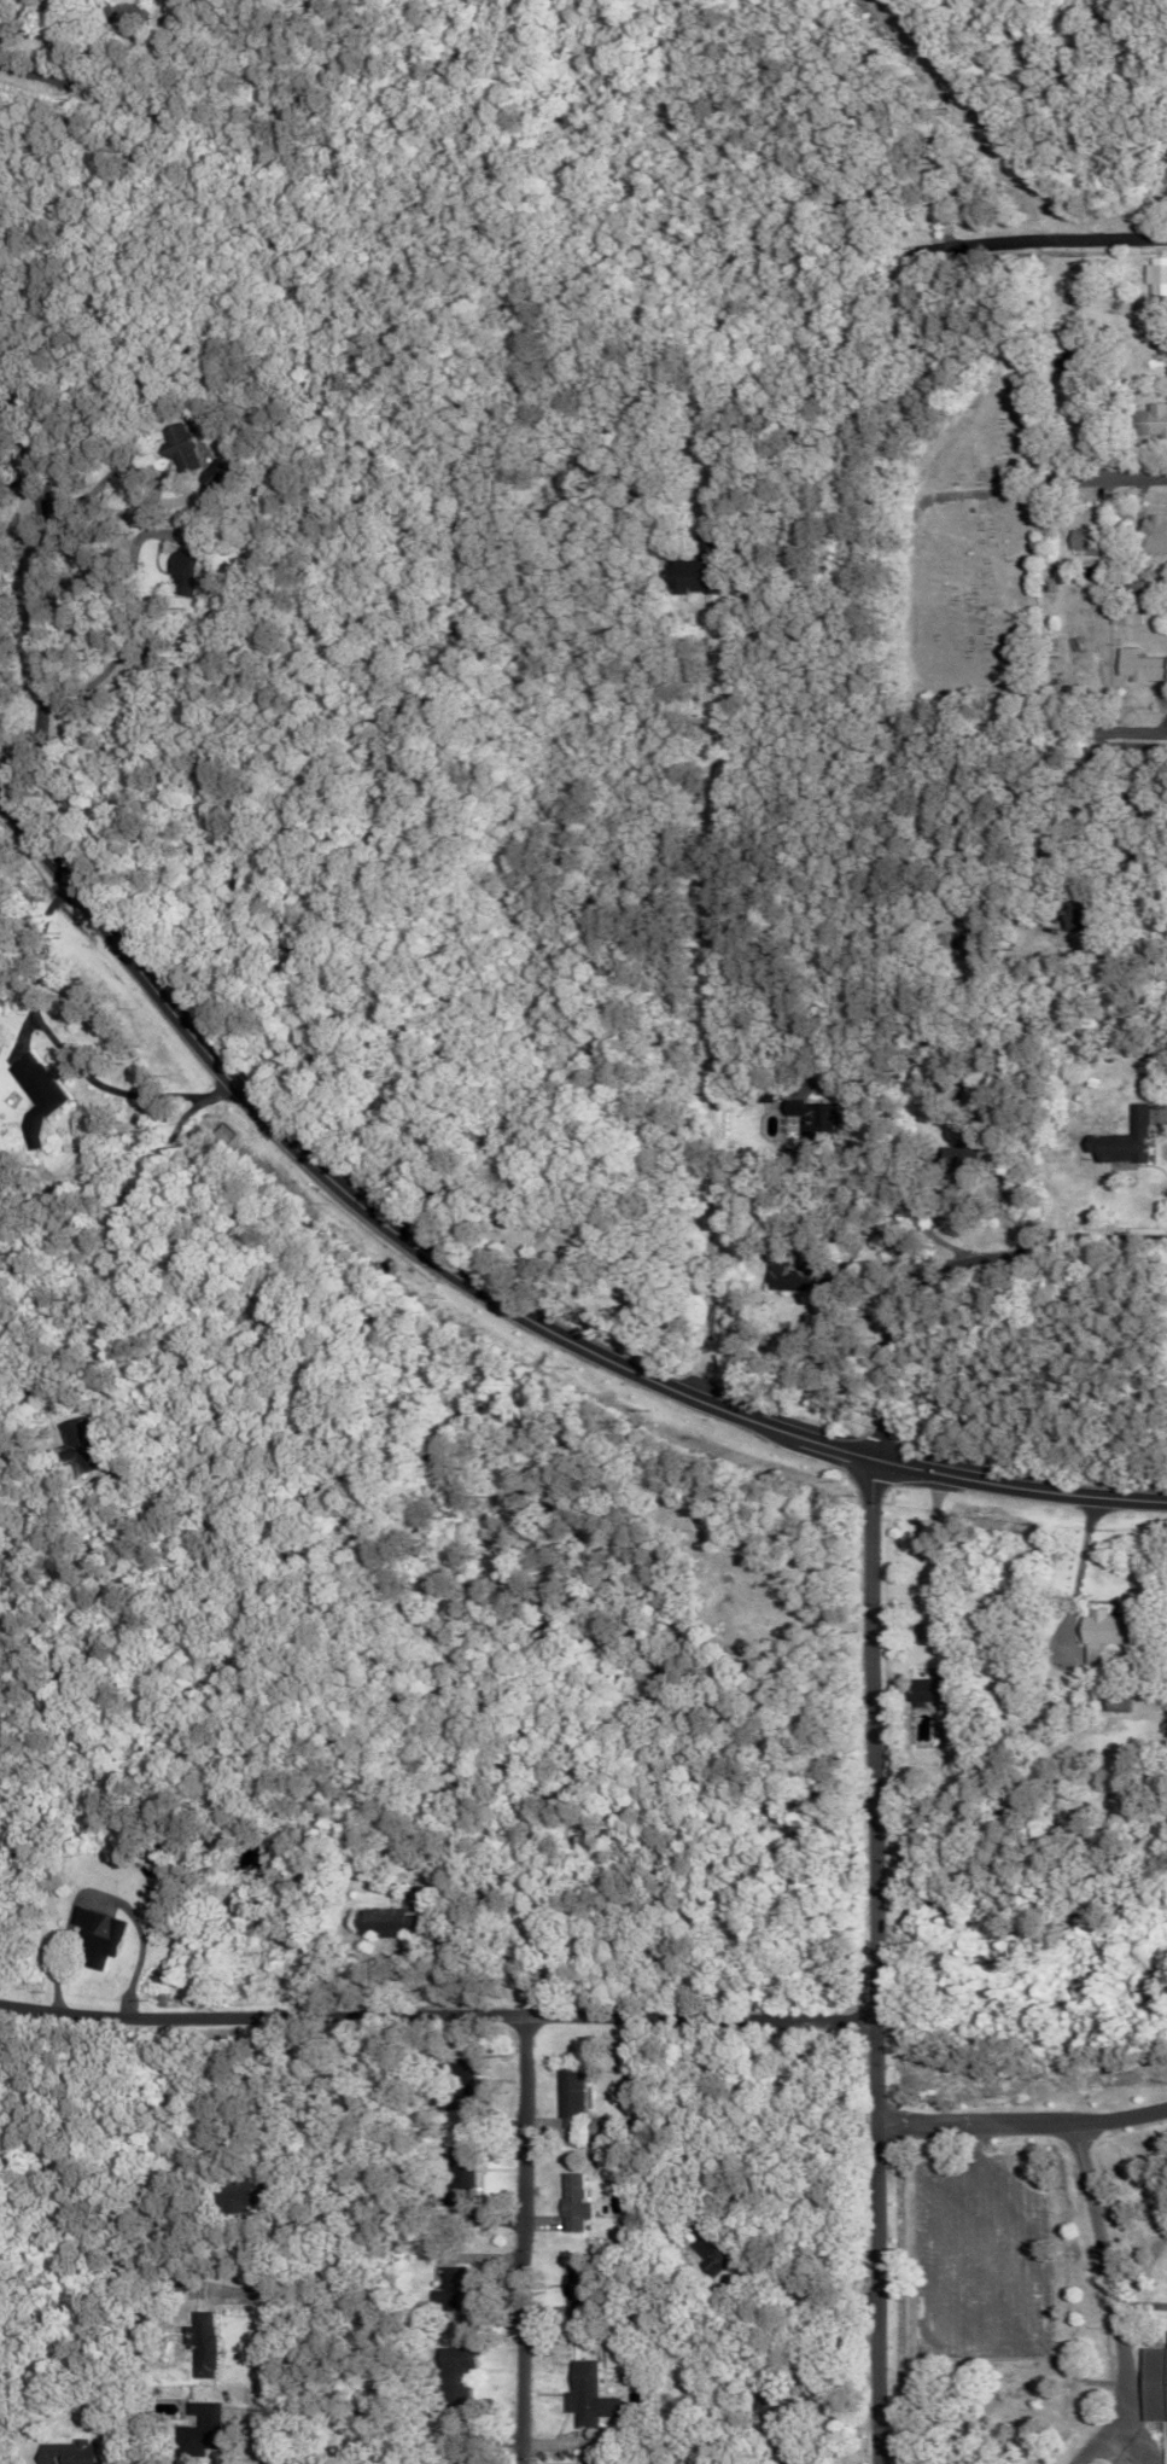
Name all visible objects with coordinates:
road: (48, 39)
road: (33, 74)
road: (1124, 237)
road: (1013, 239)
building: (1154, 276)
building: (1146, 420)
building: (180, 449)
building: (215, 473)
road: (1037, 483)
park: (965, 535)
building: (1150, 535)
building: (1080, 541)
building: (191, 573)
building: (690, 576)
building: (1121, 618)
road: (139, 653)
building: (1136, 666)
road: (1114, 814)
building: (1064, 915)
building: (40, 1083)
building: (807, 1114)
building: (1116, 1136)
road: (701, 1202)
road: (118, 1240)
road: (1083, 1245)
building: (792, 1276)
road: (496, 1293)
road: (910, 1334)
building: (80, 1445)
road: (1080, 1566)
building: (1099, 1627)
building: (1091, 1652)
building: (924, 1690)
building: (1113, 1702)
building: (375, 1918)
building: (95, 1936)
road: (877, 1962)
road: (439, 2023)
building: (457, 2081)
building: (562, 2095)
road: (1023, 2126)
building: (461, 2183)
building: (567, 2203)
road: (524, 2244)
building: (449, 2288)
road: (1105, 2305)
building: (206, 2346)
building: (451, 2375)
building: (1151, 2384)
road: (281, 2386)
building: (585, 2395)
building: (772, 2401)
building: (202, 2407)
building: (196, 2441)
building: (68, 2452)
road: (1104, 2452)

